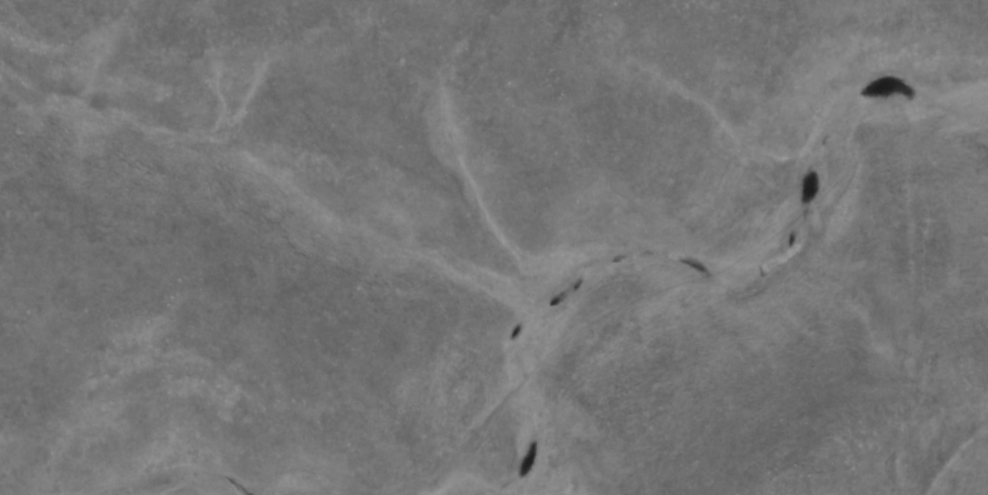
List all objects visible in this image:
road: (956, 471)

